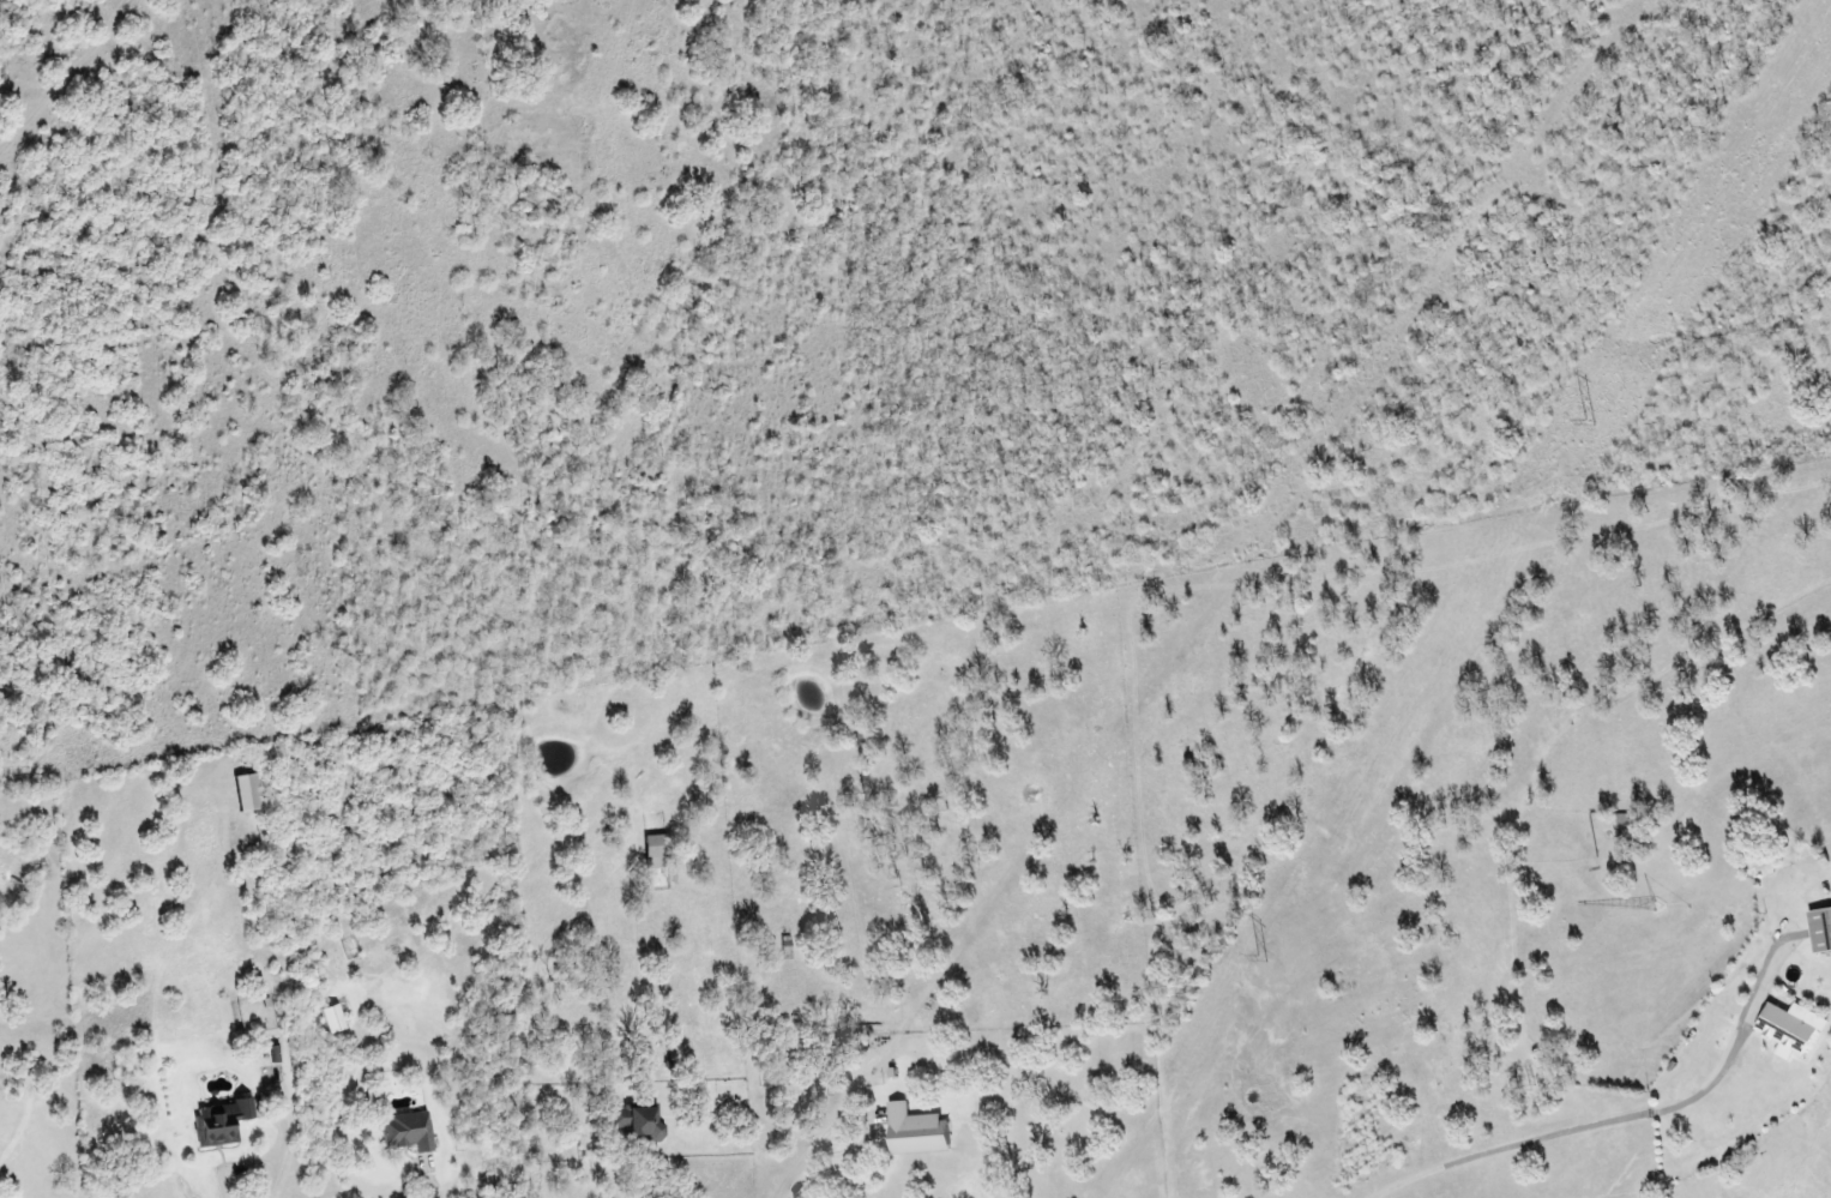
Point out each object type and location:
power tower: (1595, 427)
building: (243, 793)
building: (651, 853)
building: (1818, 932)
power tower: (1270, 961)
building: (330, 1019)
building: (1785, 1030)
building: (219, 1122)
building: (633, 1122)
building: (406, 1132)
building: (911, 1132)
road: (279, 1158)
road: (240, 1168)
road: (434, 1181)

